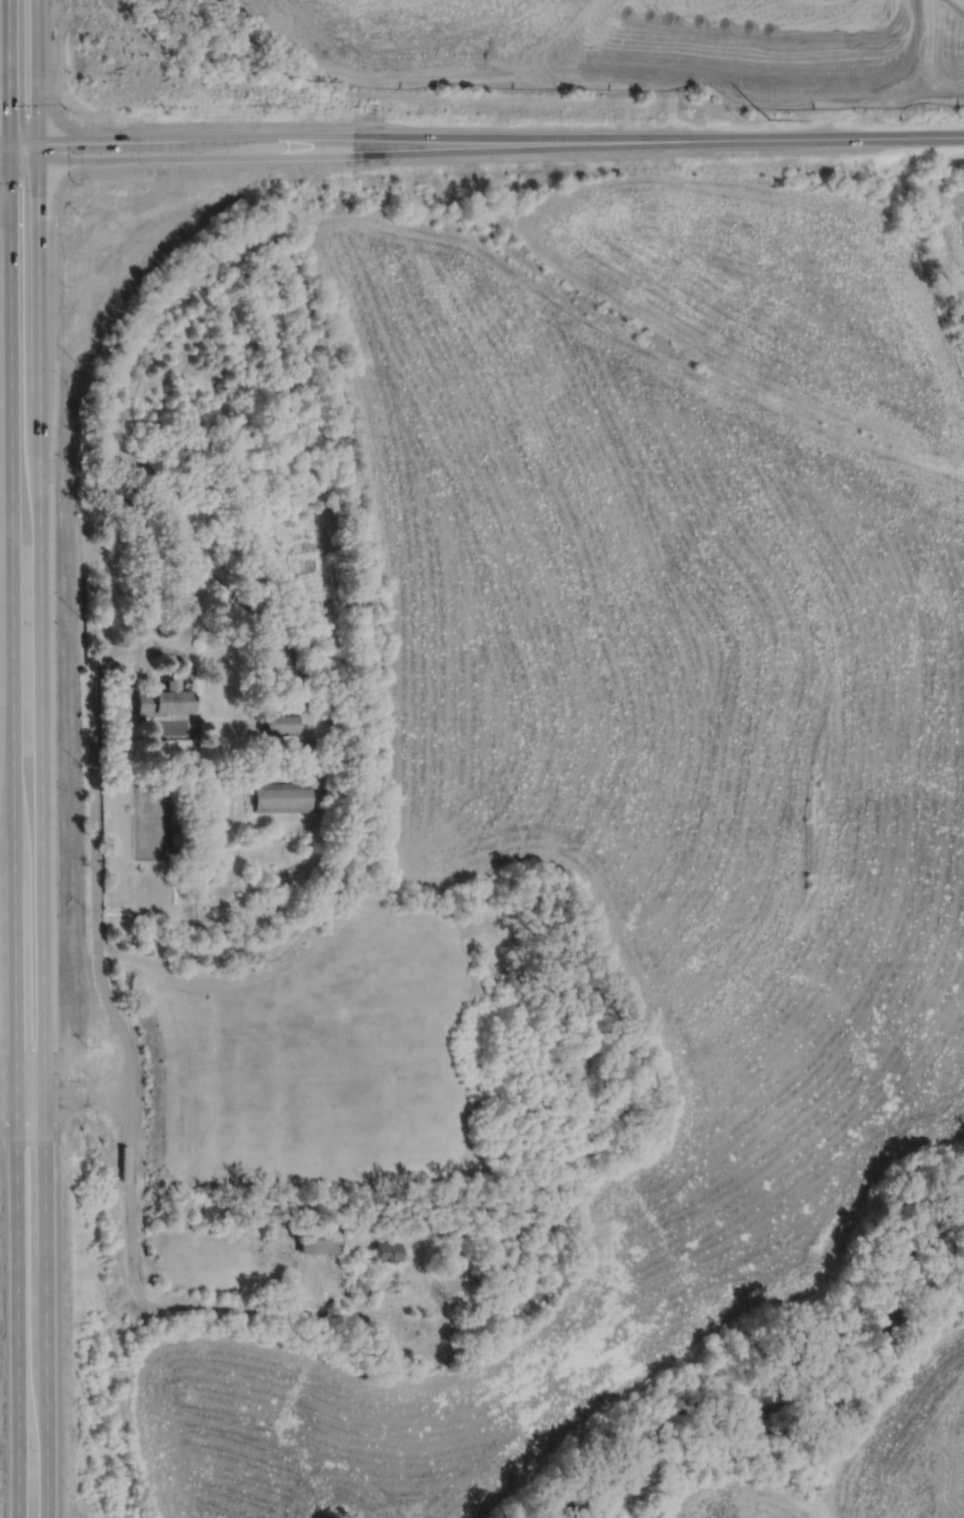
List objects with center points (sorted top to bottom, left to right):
road: (7, 79)
road: (35, 79)
road: (340, 136)
road: (819, 137)
road: (3, 138)
traffic signals: (7, 138)
traffic signals: (36, 138)
road: (341, 155)
road: (4, 159)
traffic signals: (8, 159)
traffic signals: (36, 159)
crop: (954, 229)
crop: (769, 291)
road: (165, 497)
road: (39, 627)
road: (10, 634)
road: (185, 658)
road: (143, 659)
road: (149, 678)
road: (170, 685)
road: (128, 689)
building: (162, 700)
building: (278, 724)
road: (271, 743)
road: (320, 773)
building: (279, 797)
crop: (633, 851)
road: (94, 854)
road: (22, 1084)
road: (87, 1096)
road: (22, 1106)
building: (319, 1240)
building: (388, 1251)
road: (479, 1274)
road: (322, 1286)
building: (363, 1286)
road: (136, 1289)
road: (366, 1306)
road: (46, 1307)
road: (399, 1308)
road: (19, 1313)
road: (344, 1316)
road: (447, 1322)
crop: (875, 1456)

